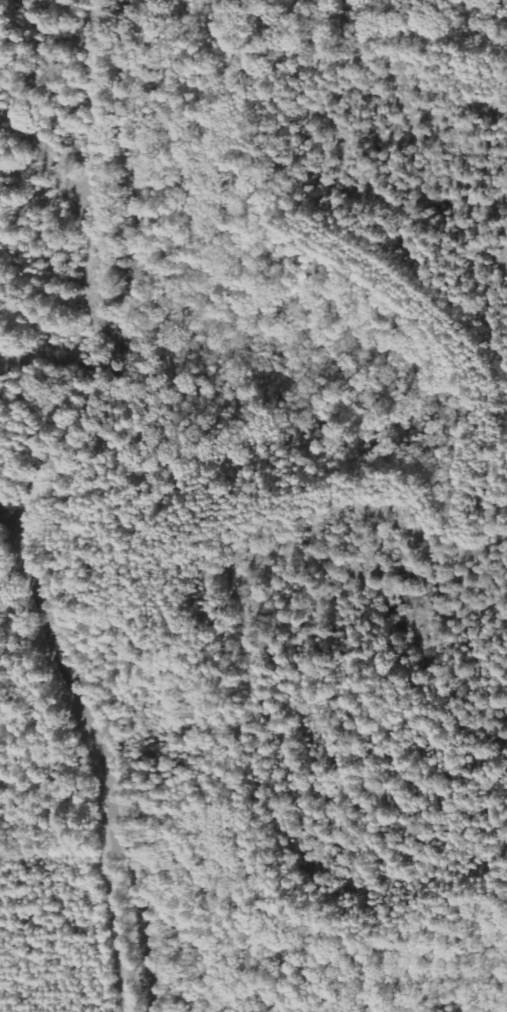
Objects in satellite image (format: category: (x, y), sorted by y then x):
road: (34, 501)
road: (18, 583)

